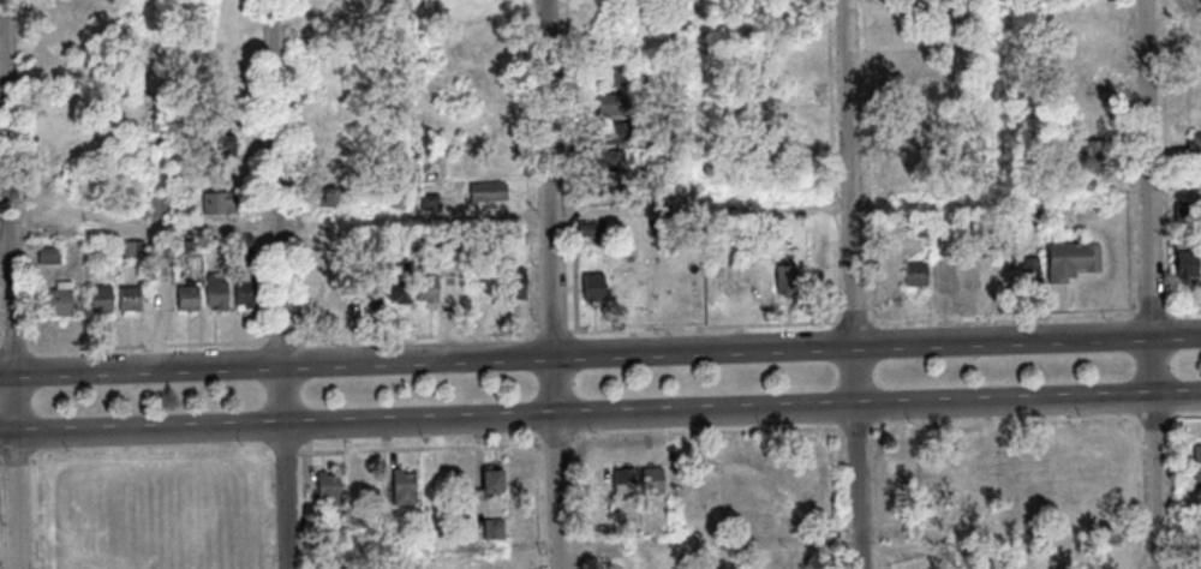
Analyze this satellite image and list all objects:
building: (483, 1)
building: (909, 10)
building: (790, 14)
building: (614, 76)
building: (360, 82)
building: (658, 83)
building: (219, 90)
road: (1130, 92)
building: (617, 104)
building: (220, 115)
building: (125, 119)
building: (64, 120)
building: (161, 124)
building: (617, 133)
building: (668, 139)
building: (223, 144)
building: (1195, 144)
building: (1094, 149)
building: (919, 156)
road: (1167, 156)
building: (614, 161)
road: (838, 161)
road: (870, 161)
road: (575, 164)
road: (530, 167)
building: (651, 168)
building: (490, 191)
building: (399, 194)
road: (1175, 197)
building: (334, 198)
building: (431, 202)
building: (220, 203)
building: (161, 206)
building: (1184, 210)
road: (428, 220)
building: (926, 228)
building: (588, 229)
building: (520, 233)
building: (352, 240)
building: (378, 242)
building: (245, 244)
building: (193, 248)
building: (103, 250)
building: (135, 250)
building: (50, 254)
building: (1072, 259)
building: (1187, 263)
building: (1032, 271)
building: (943, 272)
building: (888, 274)
building: (918, 274)
building: (970, 275)
building: (683, 280)
building: (789, 280)
building: (402, 281)
building: (650, 281)
road: (14, 283)
road: (282, 283)
building: (518, 283)
road: (856, 283)
road: (555, 284)
building: (619, 284)
road: (1151, 284)
building: (596, 287)
building: (429, 289)
building: (219, 291)
building: (372, 291)
building: (345, 292)
building: (247, 293)
building: (190, 298)
building: (102, 299)
building: (132, 300)
building: (58, 301)
road: (1185, 312)
road: (1153, 313)
road: (1004, 318)
road: (856, 322)
road: (706, 327)
road: (556, 333)
road: (420, 337)
road: (283, 342)
road: (149, 347)
road: (16, 351)
road: (0, 352)
road: (600, 353)
road: (599, 414)
road: (1187, 417)
road: (1155, 418)
road: (1006, 423)
road: (859, 429)
road: (802, 430)
road: (842, 430)
road: (532, 445)
road: (286, 453)
road: (1, 455)
road: (18, 456)
building: (1199, 461)
building: (656, 480)
building: (626, 481)
building: (492, 483)
building: (405, 487)
building: (330, 490)
road: (1140, 493)
road: (1175, 493)
road: (878, 498)
road: (581, 503)
road: (539, 507)
road: (306, 510)
road: (1, 511)
road: (38, 513)
park: (159, 515)
road: (599, 520)
building: (496, 529)
road: (425, 561)

